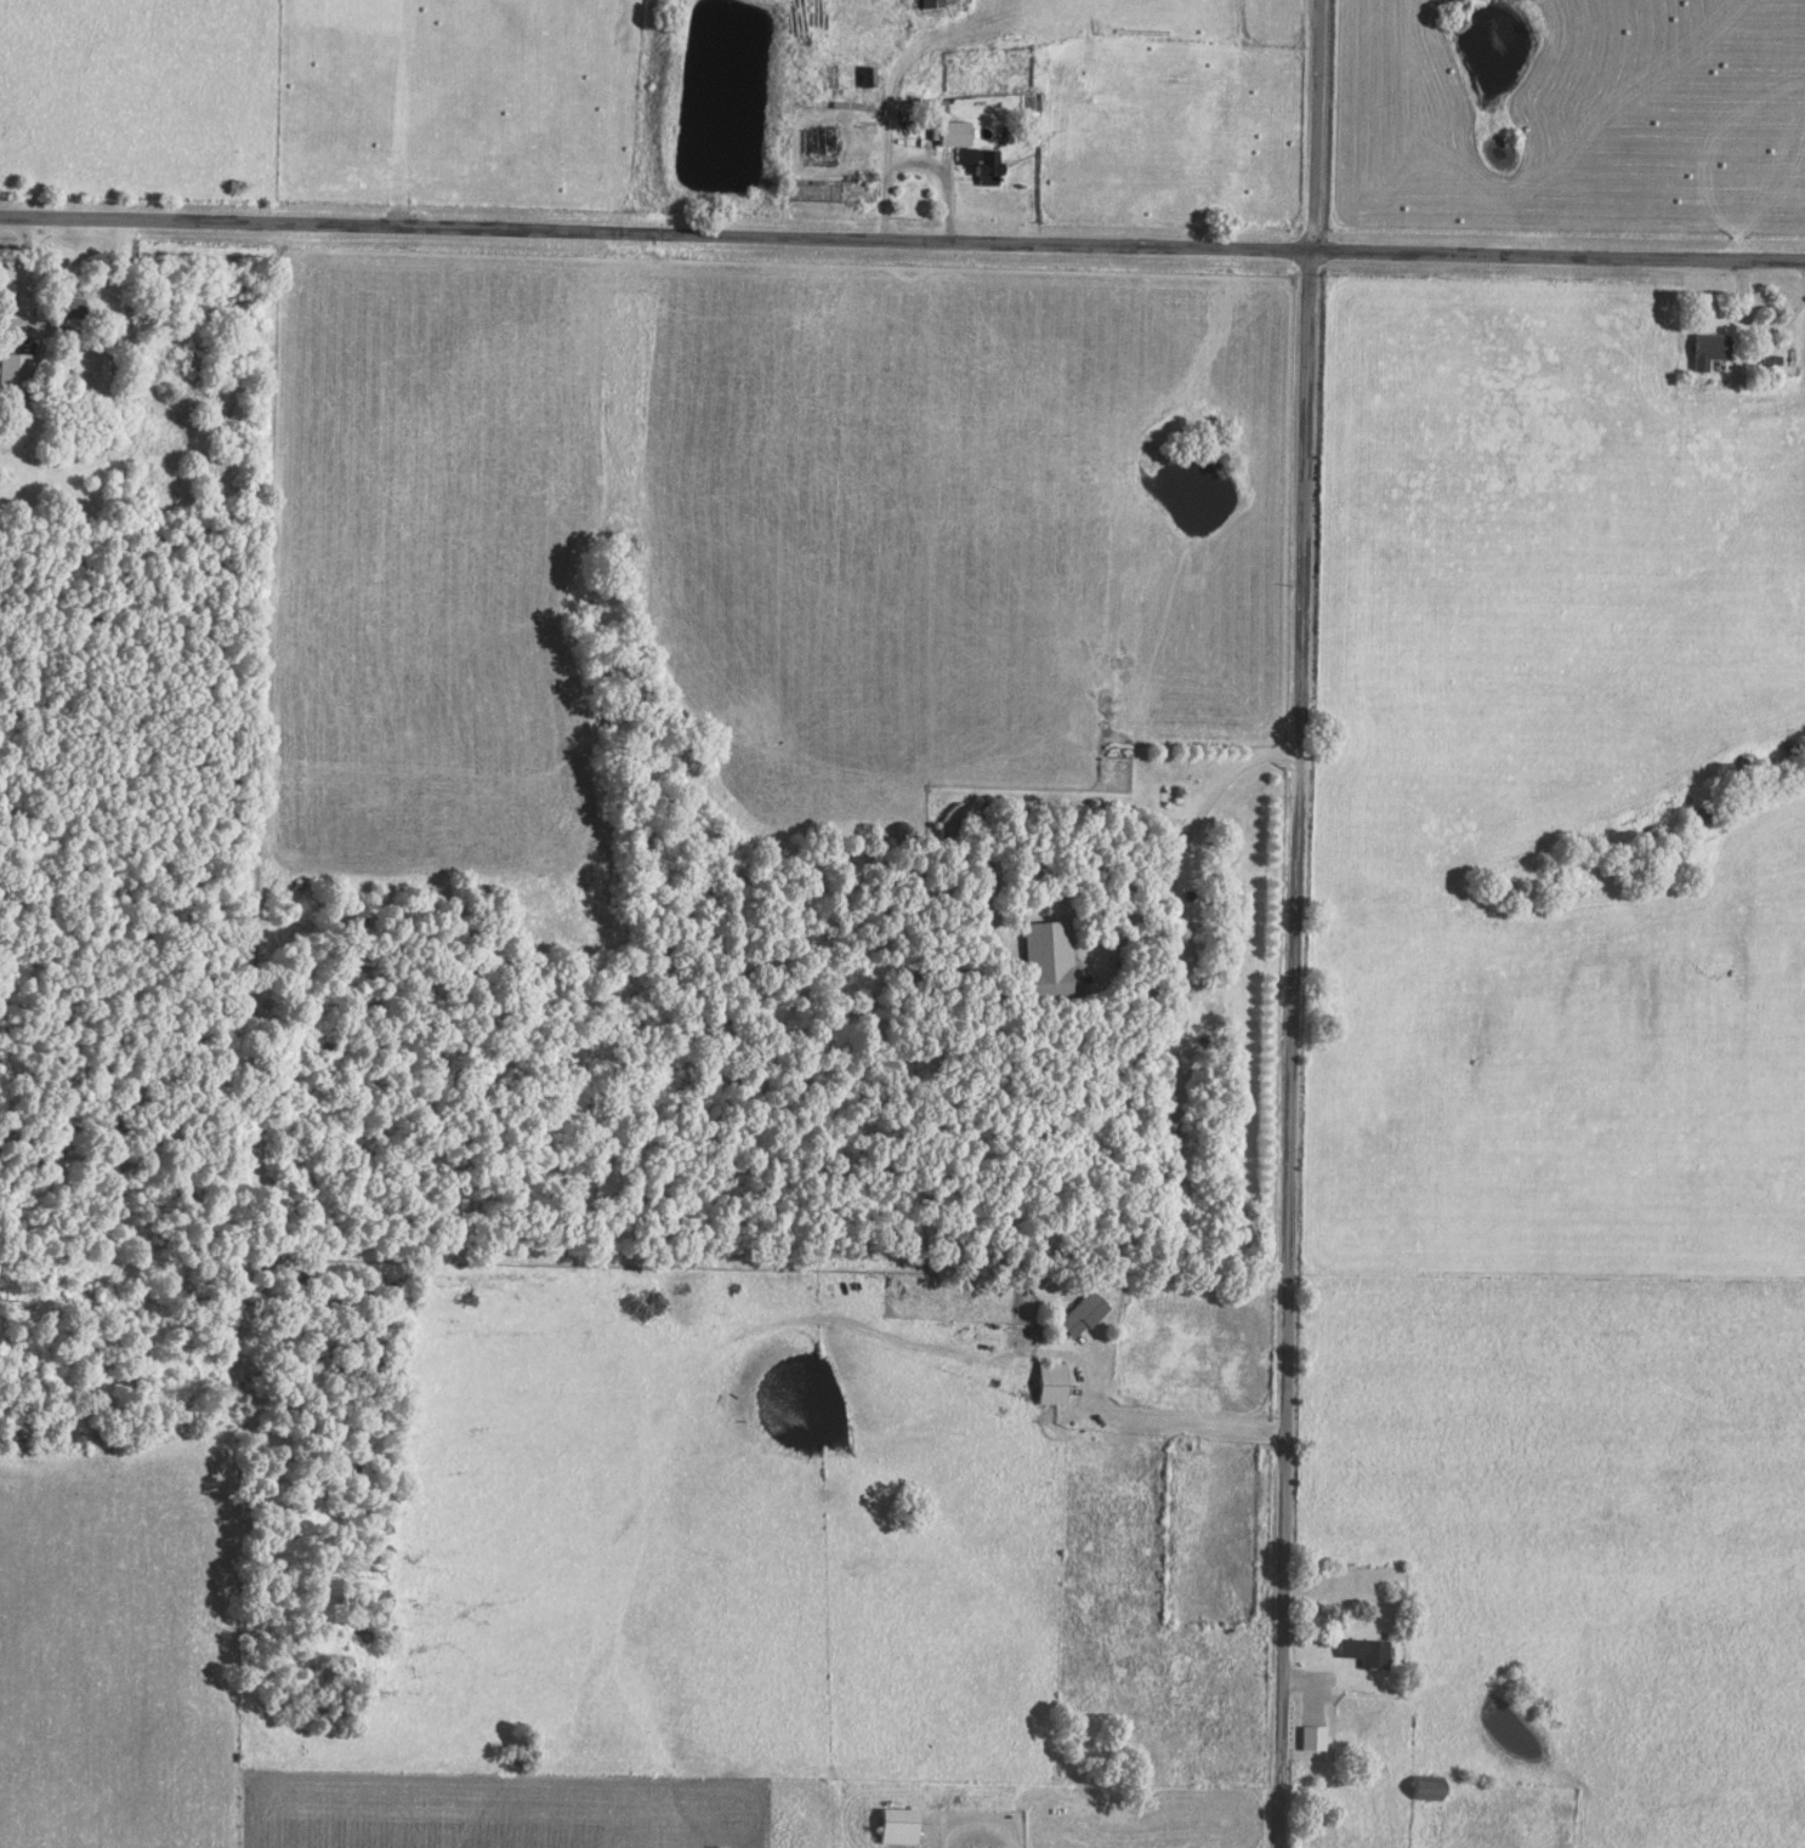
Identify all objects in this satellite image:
building: (935, 4)
building: (957, 133)
road: (918, 163)
building: (986, 165)
road: (902, 241)
building: (75, 312)
building: (1713, 347)
building: (16, 373)
road: (1186, 832)
road: (1294, 923)
building: (1048, 960)
building: (1084, 1313)
building: (1052, 1382)
road: (1159, 1423)
building: (1366, 1651)
building: (1313, 1738)
building: (901, 1825)

